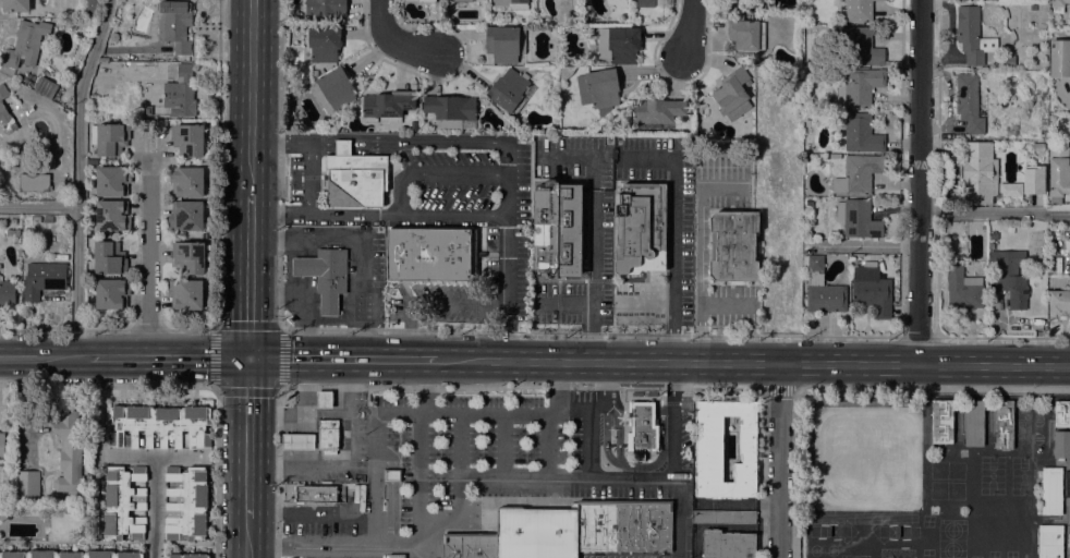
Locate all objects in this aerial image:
building: (462, 0)
building: (426, 1)
building: (512, 3)
building: (645, 3)
building: (1058, 4)
building: (15, 5)
building: (1032, 7)
building: (92, 8)
building: (325, 8)
building: (859, 10)
building: (173, 24)
road: (688, 29)
building: (744, 32)
building: (972, 35)
building: (113, 36)
building: (324, 43)
road: (396, 43)
building: (504, 43)
building: (25, 44)
building: (618, 44)
building: (860, 45)
building: (1059, 58)
building: (1009, 59)
building: (856, 86)
building: (45, 88)
building: (331, 89)
building: (598, 89)
building: (2, 90)
building: (183, 90)
building: (510, 90)
building: (730, 90)
road: (252, 97)
building: (90, 98)
building: (969, 104)
building: (387, 106)
building: (147, 110)
building: (450, 110)
building: (656, 112)
building: (5, 119)
building: (513, 131)
building: (860, 132)
building: (1043, 133)
road: (379, 136)
building: (108, 138)
building: (187, 138)
building: (1037, 147)
building: (92, 162)
building: (861, 171)
building: (977, 173)
building: (1058, 173)
road: (78, 175)
building: (354, 178)
road: (308, 179)
building: (1033, 180)
building: (111, 181)
building: (186, 181)
road: (920, 181)
building: (33, 182)
building: (1009, 189)
road: (217, 190)
road: (594, 204)
road: (39, 205)
road: (995, 211)
road: (379, 213)
building: (111, 215)
building: (185, 215)
building: (35, 218)
building: (858, 218)
building: (48, 219)
building: (13, 220)
building: (640, 228)
building: (557, 230)
road: (865, 244)
road: (358, 245)
building: (732, 245)
road: (701, 251)
road: (507, 252)
building: (430, 254)
road: (147, 256)
building: (189, 256)
building: (108, 257)
road: (251, 276)
building: (325, 276)
building: (1010, 276)
building: (42, 279)
building: (960, 284)
building: (822, 288)
building: (871, 291)
building: (7, 292)
building: (111, 293)
building: (184, 293)
building: (1059, 303)
road: (299, 304)
road: (462, 304)
road: (725, 304)
road: (586, 310)
road: (409, 328)
road: (280, 329)
road: (63, 330)
road: (425, 330)
road: (146, 331)
road: (1002, 336)
road: (38, 355)
road: (163, 355)
traffic signals: (250, 357)
road: (343, 357)
road: (608, 361)
road: (803, 362)
road: (848, 363)
road: (895, 363)
road: (996, 363)
road: (604, 380)
road: (560, 381)
road: (107, 385)
road: (424, 385)
road: (521, 388)
road: (779, 388)
road: (848, 388)
building: (323, 400)
road: (582, 405)
road: (399, 412)
road: (484, 413)
building: (1061, 414)
road: (676, 418)
building: (941, 422)
building: (973, 423)
building: (1002, 424)
building: (158, 425)
building: (642, 426)
building: (327, 434)
road: (247, 437)
road: (548, 438)
building: (297, 441)
road: (592, 441)
building: (1, 444)
building: (1060, 445)
building: (69, 450)
building: (707, 451)
road: (153, 454)
road: (777, 459)
road: (215, 473)
building: (391, 475)
road: (421, 477)
road: (568, 477)
road: (375, 478)
building: (26, 484)
road: (460, 485)
building: (1050, 490)
building: (314, 494)
building: (123, 504)
building: (185, 504)
road: (151, 506)
building: (724, 517)
road: (676, 518)
building: (623, 525)
building: (536, 533)
road: (246, 537)
building: (1049, 542)
road: (341, 544)
building: (727, 544)
building: (469, 545)
building: (70, 554)
building: (186, 556)

